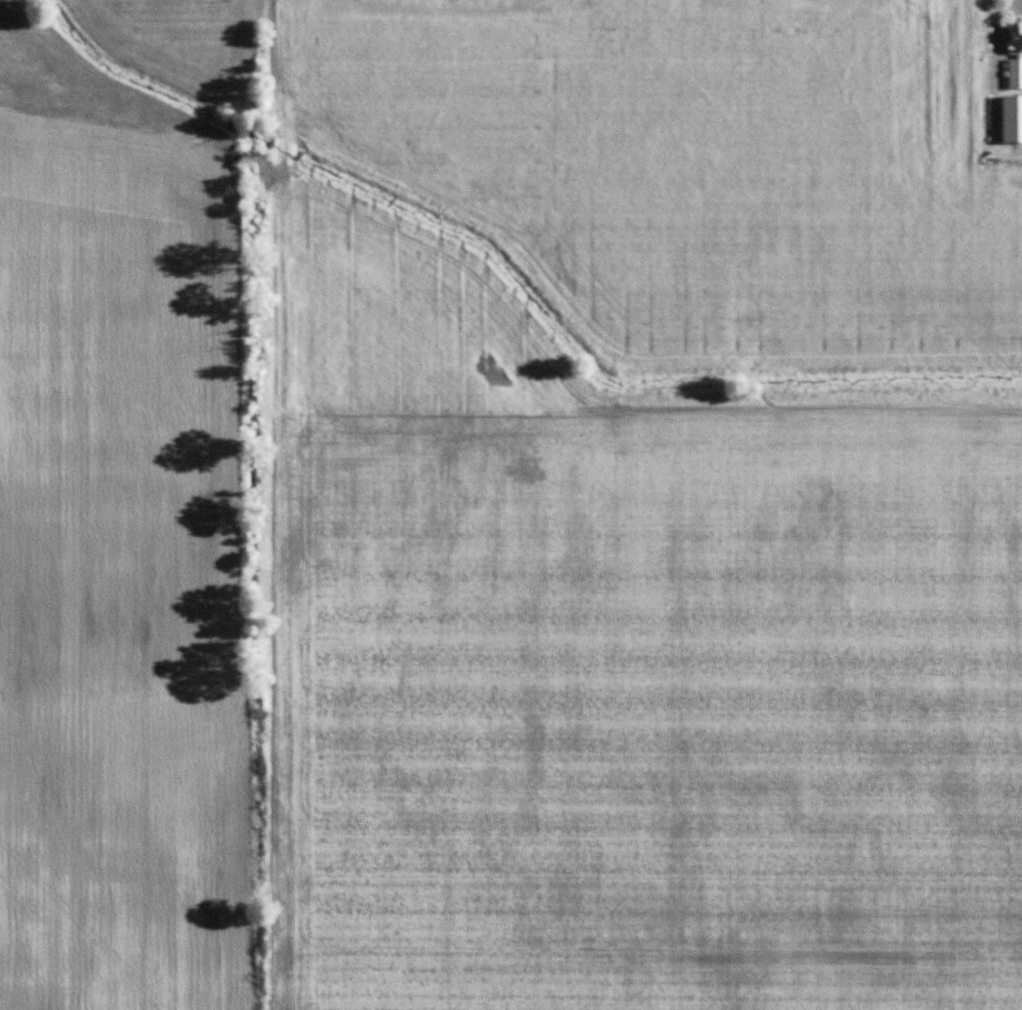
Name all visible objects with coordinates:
building: (1015, 56)
building: (1012, 119)

